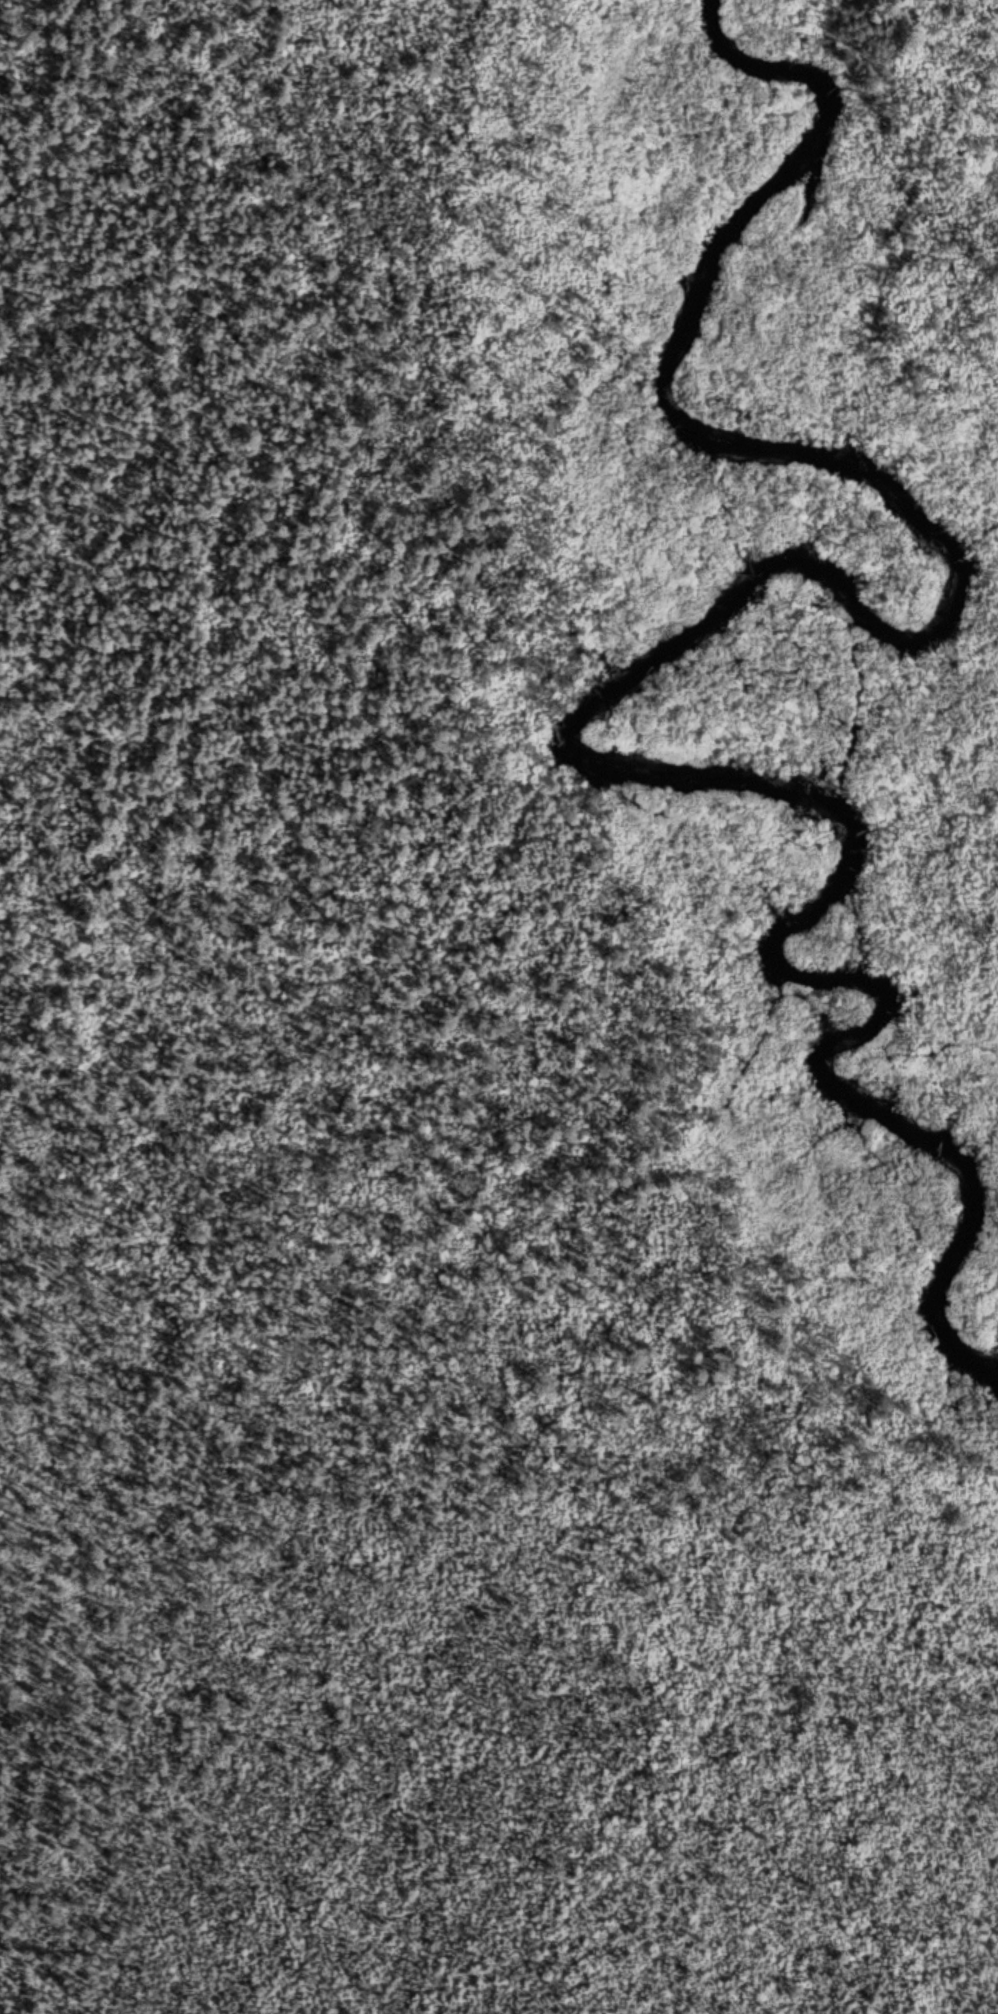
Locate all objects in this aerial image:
river: (666, 655)

